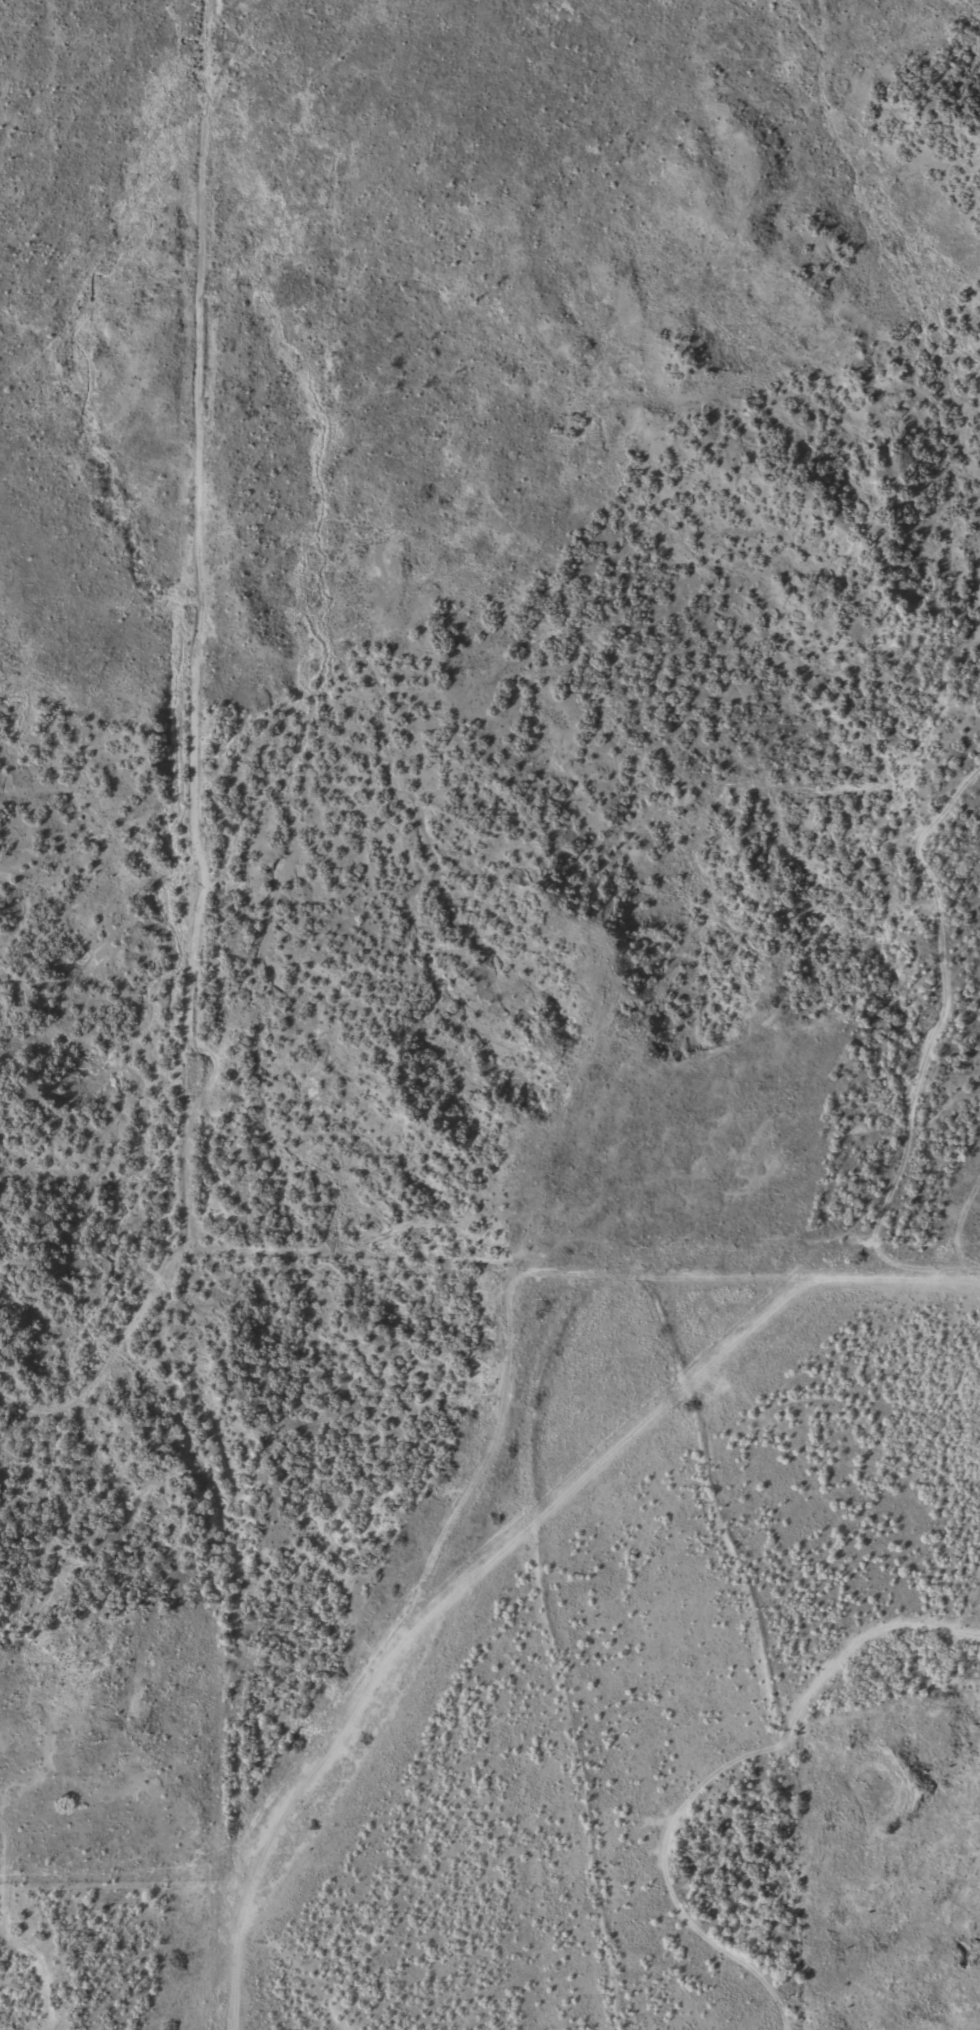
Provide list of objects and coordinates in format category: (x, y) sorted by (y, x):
road: (166, 735)
road: (460, 1485)
road: (48, 1941)

